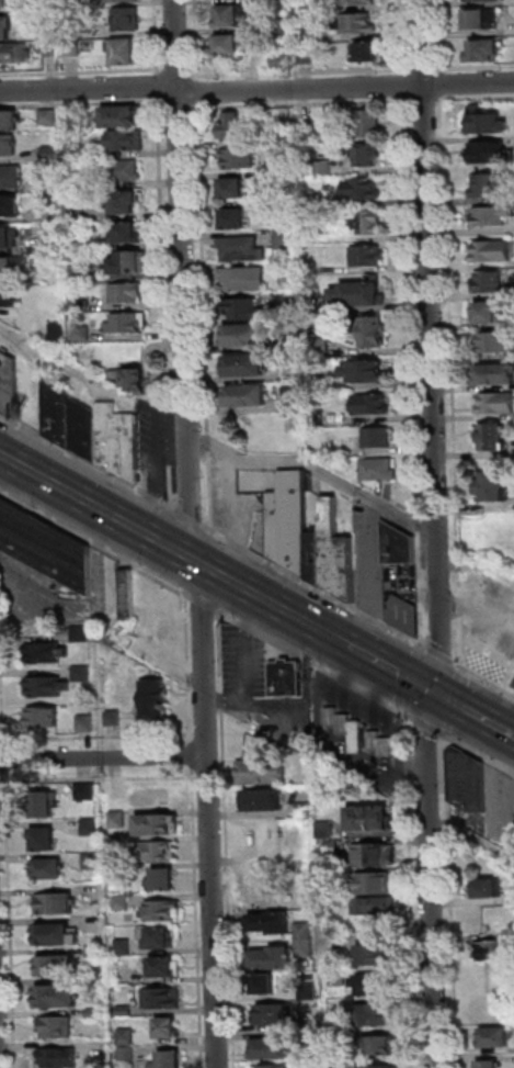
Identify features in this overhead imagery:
building: (480, 0)
building: (123, 1)
building: (359, 2)
building: (0, 4)
building: (231, 16)
building: (481, 18)
building: (126, 20)
building: (357, 23)
building: (281, 24)
building: (5, 27)
building: (309, 35)
road: (443, 35)
road: (157, 36)
road: (403, 36)
road: (197, 40)
building: (230, 46)
building: (53, 48)
building: (71, 48)
building: (484, 50)
building: (125, 52)
building: (369, 52)
building: (13, 53)
building: (307, 55)
building: (282, 60)
road: (476, 68)
road: (423, 69)
road: (81, 71)
road: (176, 72)
road: (299, 72)
road: (444, 83)
road: (404, 85)
road: (158, 86)
road: (256, 90)
road: (198, 93)
road: (477, 100)
road: (425, 101)
road: (82, 104)
road: (179, 105)
road: (301, 105)
building: (121, 116)
building: (48, 119)
building: (484, 121)
building: (10, 122)
building: (368, 123)
building: (231, 126)
building: (306, 132)
building: (127, 140)
building: (9, 146)
building: (284, 148)
building: (487, 150)
building: (73, 151)
building: (49, 154)
building: (367, 155)
building: (238, 158)
building: (323, 166)
building: (123, 171)
building: (271, 175)
building: (12, 177)
building: (50, 183)
building: (488, 183)
building: (233, 189)
building: (362, 190)
building: (125, 203)
building: (272, 204)
building: (11, 206)
building: (78, 212)
building: (491, 215)
building: (235, 220)
building: (366, 223)
building: (124, 233)
building: (309, 236)
building: (9, 237)
building: (285, 240)
building: (52, 244)
building: (78, 245)
building: (242, 249)
building: (490, 249)
road: (163, 254)
building: (367, 257)
building: (127, 263)
building: (15, 267)
building: (309, 268)
building: (80, 273)
road: (181, 279)
building: (243, 279)
building: (487, 280)
building: (127, 293)
building: (361, 293)
building: (9, 297)
building: (310, 303)
building: (80, 306)
building: (487, 310)
building: (245, 311)
road: (205, 318)
building: (126, 324)
building: (370, 331)
building: (82, 334)
building: (58, 335)
building: (247, 336)
building: (495, 341)
building: (290, 342)
building: (319, 347)
road: (46, 353)
building: (247, 367)
building: (366, 372)
road: (413, 372)
building: (494, 372)
building: (315, 380)
building: (137, 381)
road: (454, 382)
building: (9, 385)
building: (249, 397)
building: (292, 400)
building: (493, 402)
building: (372, 405)
building: (58, 412)
building: (317, 419)
building: (84, 430)
building: (489, 436)
road: (169, 437)
building: (378, 438)
building: (118, 442)
road: (85, 463)
road: (313, 466)
building: (379, 471)
road: (160, 472)
building: (490, 485)
road: (170, 487)
road: (187, 519)
building: (289, 524)
road: (434, 535)
road: (156, 541)
road: (92, 542)
building: (331, 544)
building: (399, 547)
building: (46, 548)
building: (317, 559)
road: (476, 566)
building: (347, 570)
road: (315, 588)
building: (129, 595)
road: (202, 603)
building: (406, 617)
road: (100, 619)
building: (82, 634)
road: (332, 638)
building: (46, 654)
road: (441, 655)
building: (487, 662)
road: (317, 665)
road: (189, 667)
road: (391, 670)
building: (83, 674)
road: (2, 676)
road: (412, 676)
road: (484, 679)
building: (287, 681)
building: (47, 688)
traffic signals: (432, 692)
building: (155, 699)
road: (455, 700)
road: (471, 713)
building: (44, 718)
building: (115, 720)
building: (87, 724)
road: (430, 727)
building: (361, 735)
road: (513, 737)
road: (102, 738)
road: (479, 754)
road: (324, 755)
road: (191, 756)
road: (103, 758)
road: (4, 761)
building: (263, 774)
road: (106, 780)
road: (2, 783)
building: (469, 783)
building: (85, 792)
building: (152, 799)
road: (505, 799)
building: (264, 802)
building: (44, 807)
building: (305, 810)
road: (209, 819)
building: (372, 820)
building: (118, 821)
building: (157, 827)
building: (90, 828)
building: (328, 830)
road: (227, 840)
building: (45, 841)
building: (330, 848)
building: (157, 853)
building: (376, 856)
building: (91, 862)
building: (48, 870)
building: (122, 873)
building: (163, 882)
building: (375, 885)
road: (413, 888)
building: (489, 889)
building: (269, 899)
road: (453, 901)
building: (122, 903)
building: (54, 906)
building: (374, 907)
building: (163, 912)
road: (197, 919)
road: (10, 920)
building: (273, 924)
building: (57, 937)
building: (305, 940)
building: (160, 941)
building: (124, 948)
building: (495, 952)
building: (93, 954)
building: (376, 957)
building: (274, 960)
building: (57, 967)
building: (164, 969)
building: (488, 979)
building: (339, 980)
building: (265, 986)
building: (375, 987)
building: (309, 992)
building: (58, 998)
building: (163, 999)
building: (124, 1012)
building: (95, 1014)
building: (272, 1016)
building: (376, 1016)
building: (310, 1022)
building: (57, 1028)
building: (168, 1030)
building: (126, 1038)
building: (495, 1039)
building: (381, 1047)
building: (273, 1050)
building: (127, 1055)
building: (59, 1058)
building: (170, 1061)
building: (340, 1064)
building: (490, 1065)
building: (378, 1066)
building: (276, 1067)

